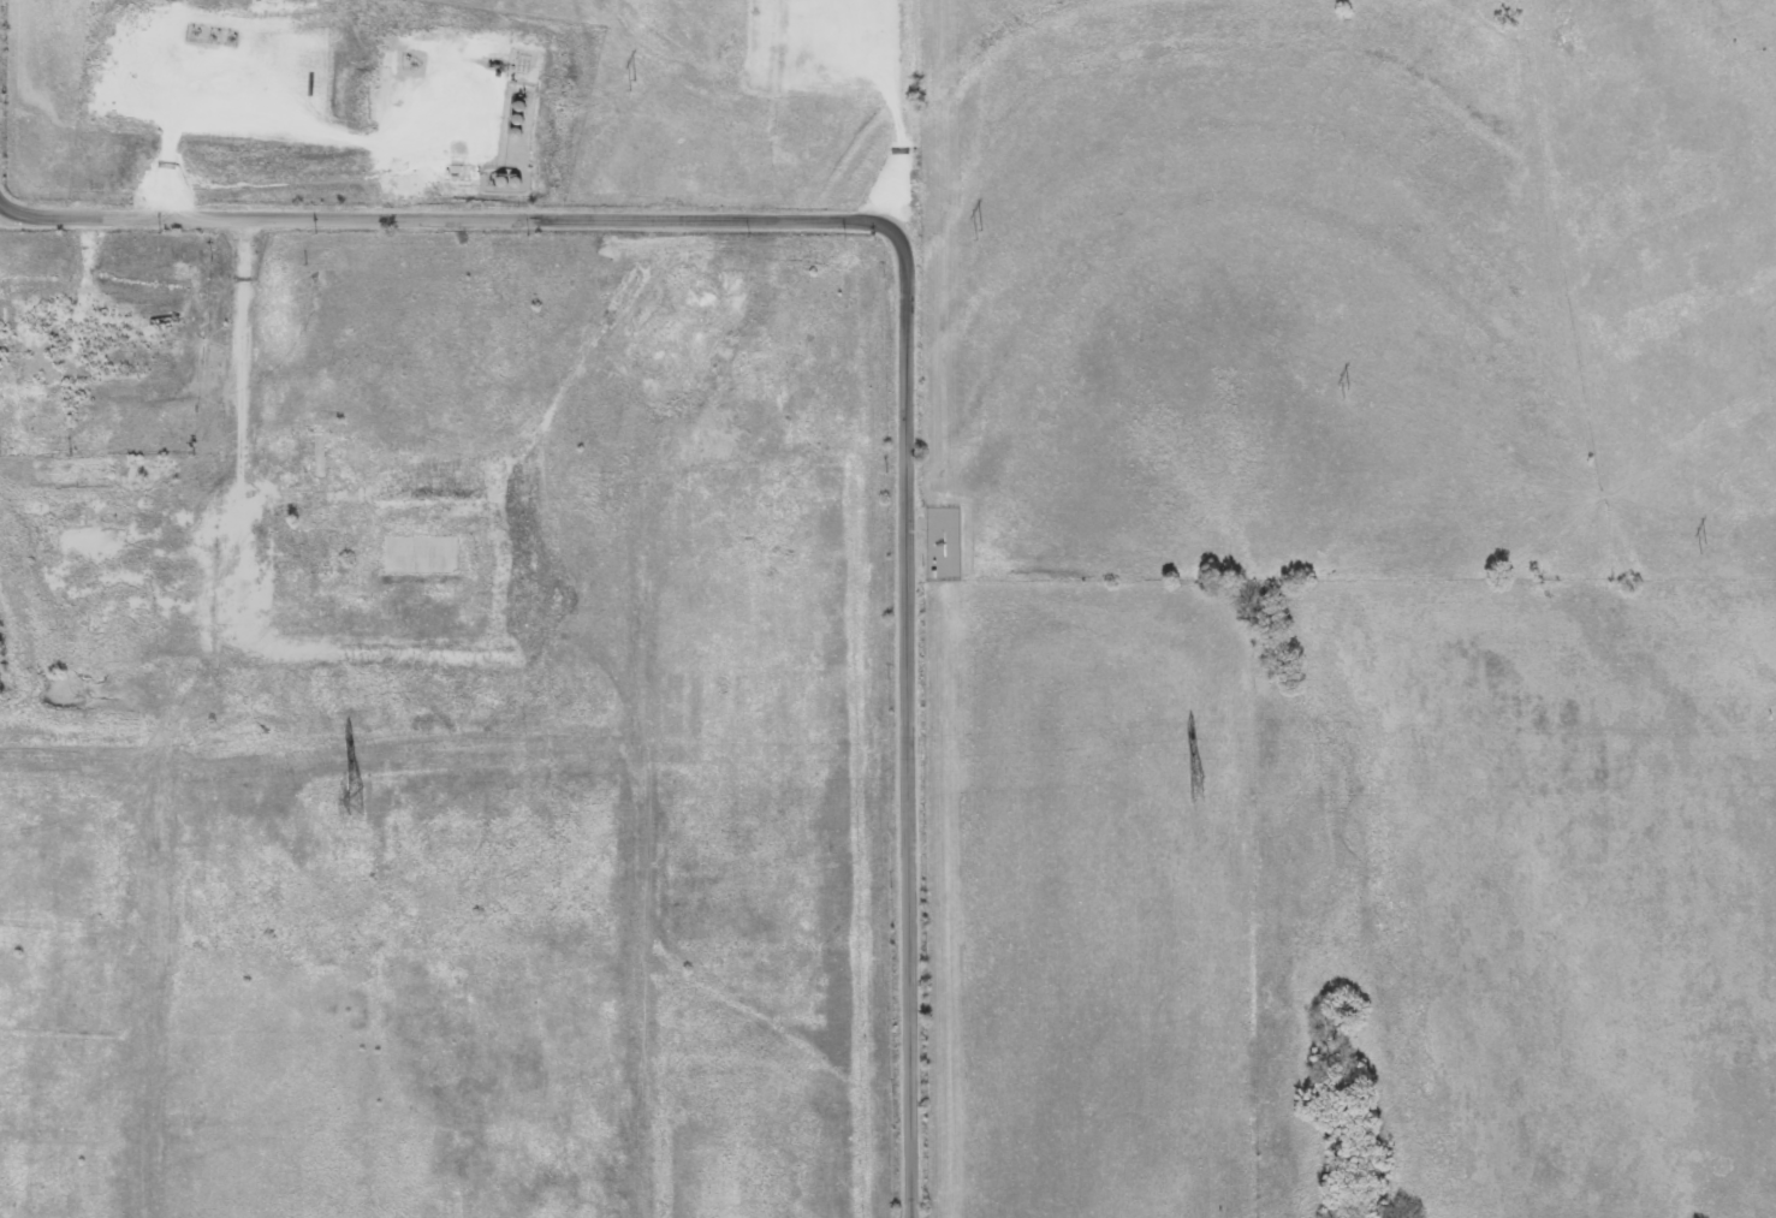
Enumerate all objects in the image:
road: (841, 220)
building: (81, 426)
power tower: (1194, 790)
power tower: (350, 801)
road: (903, 1124)

